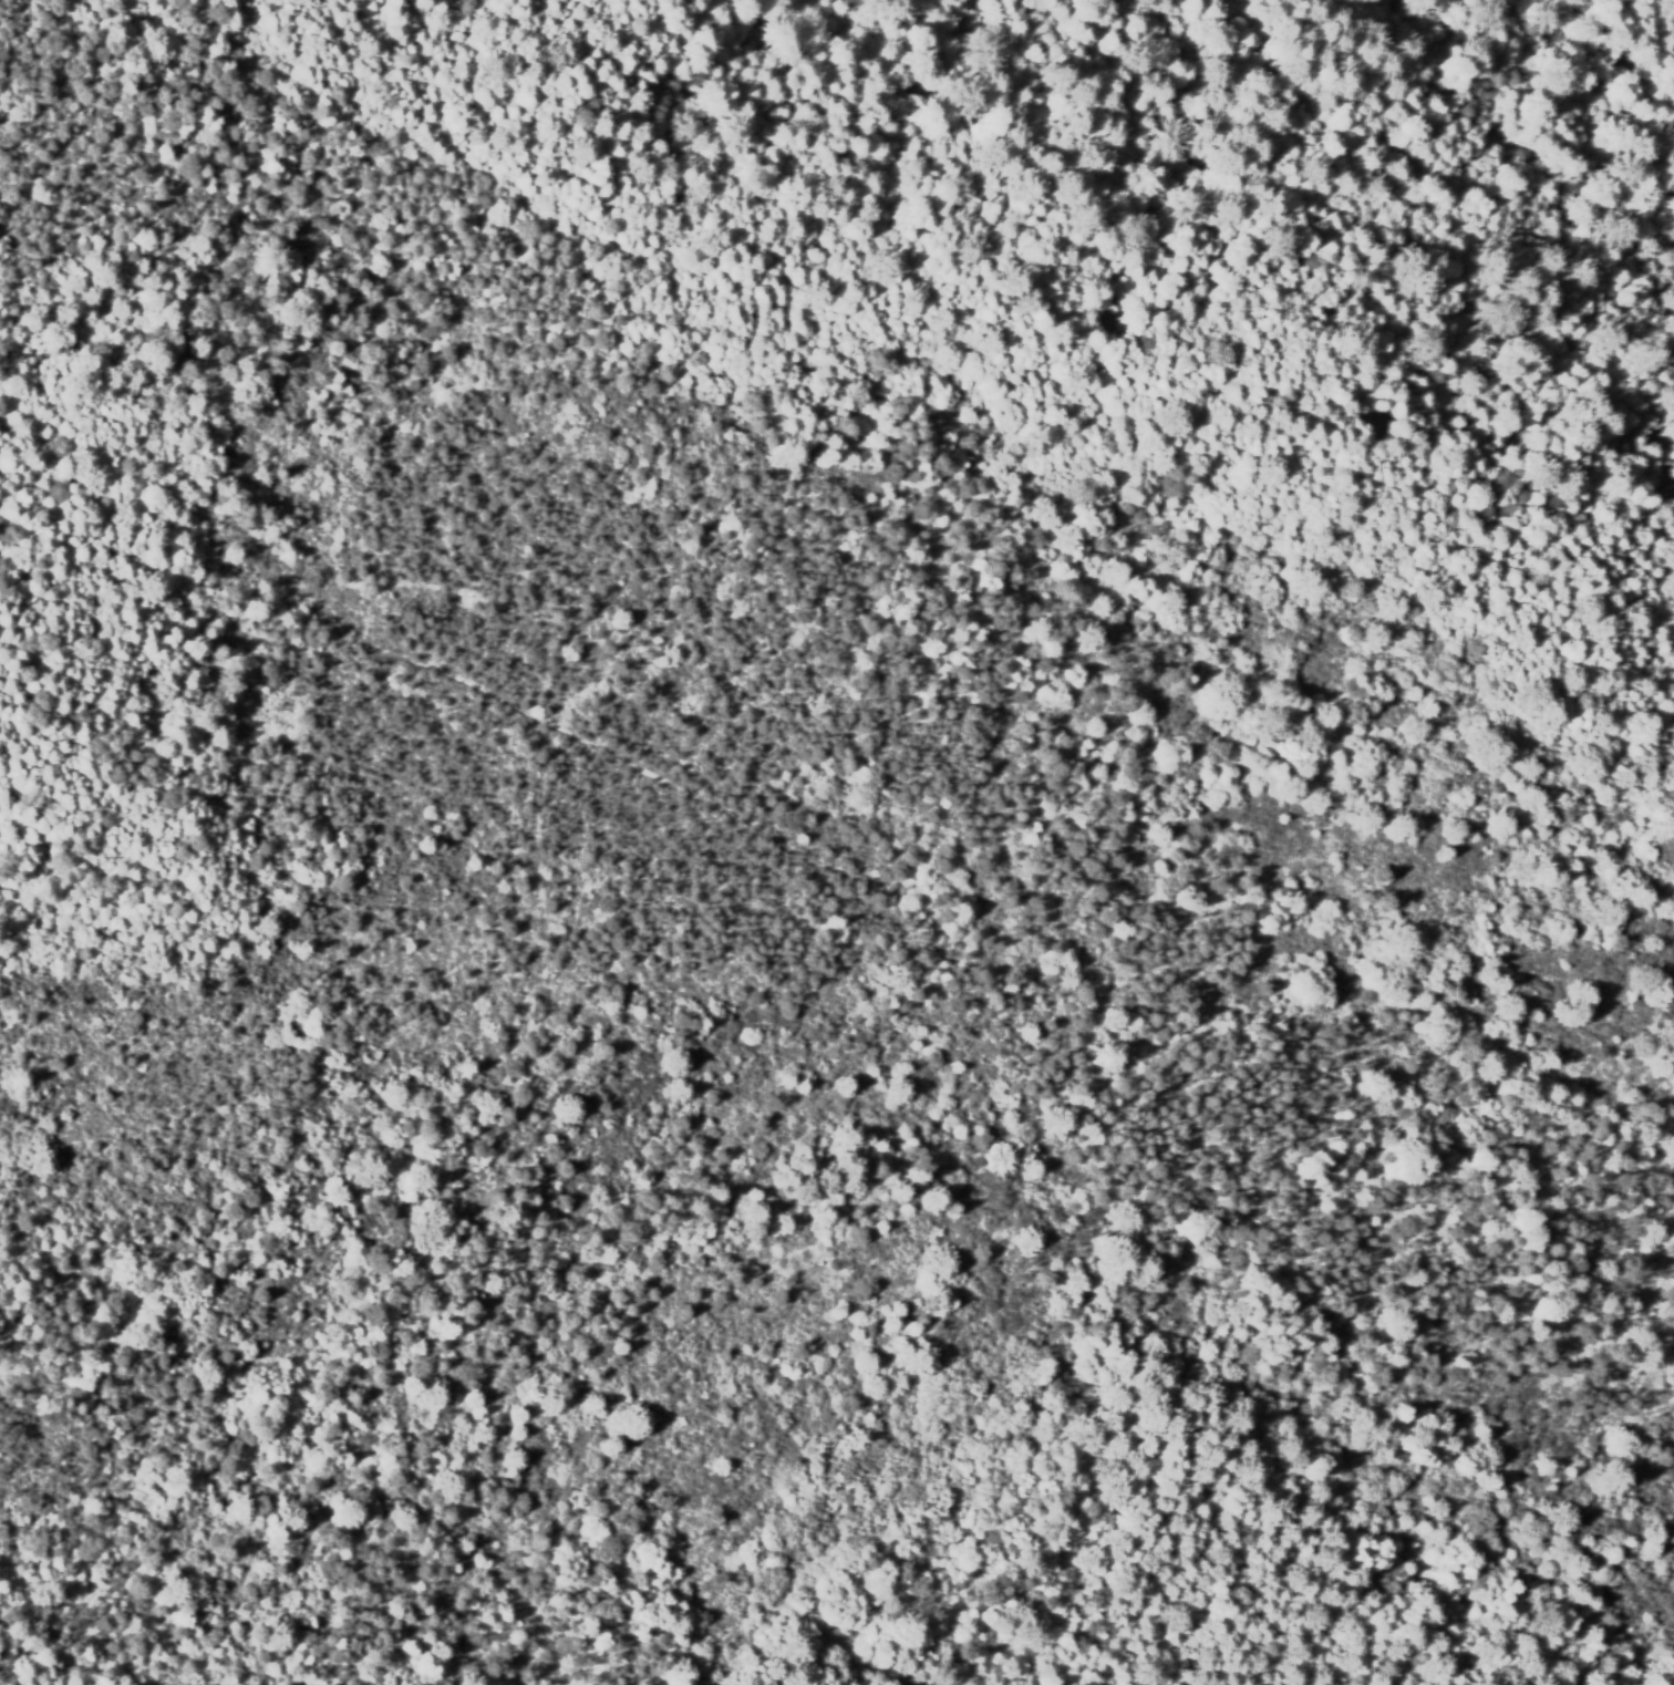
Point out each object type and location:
road: (938, 949)

